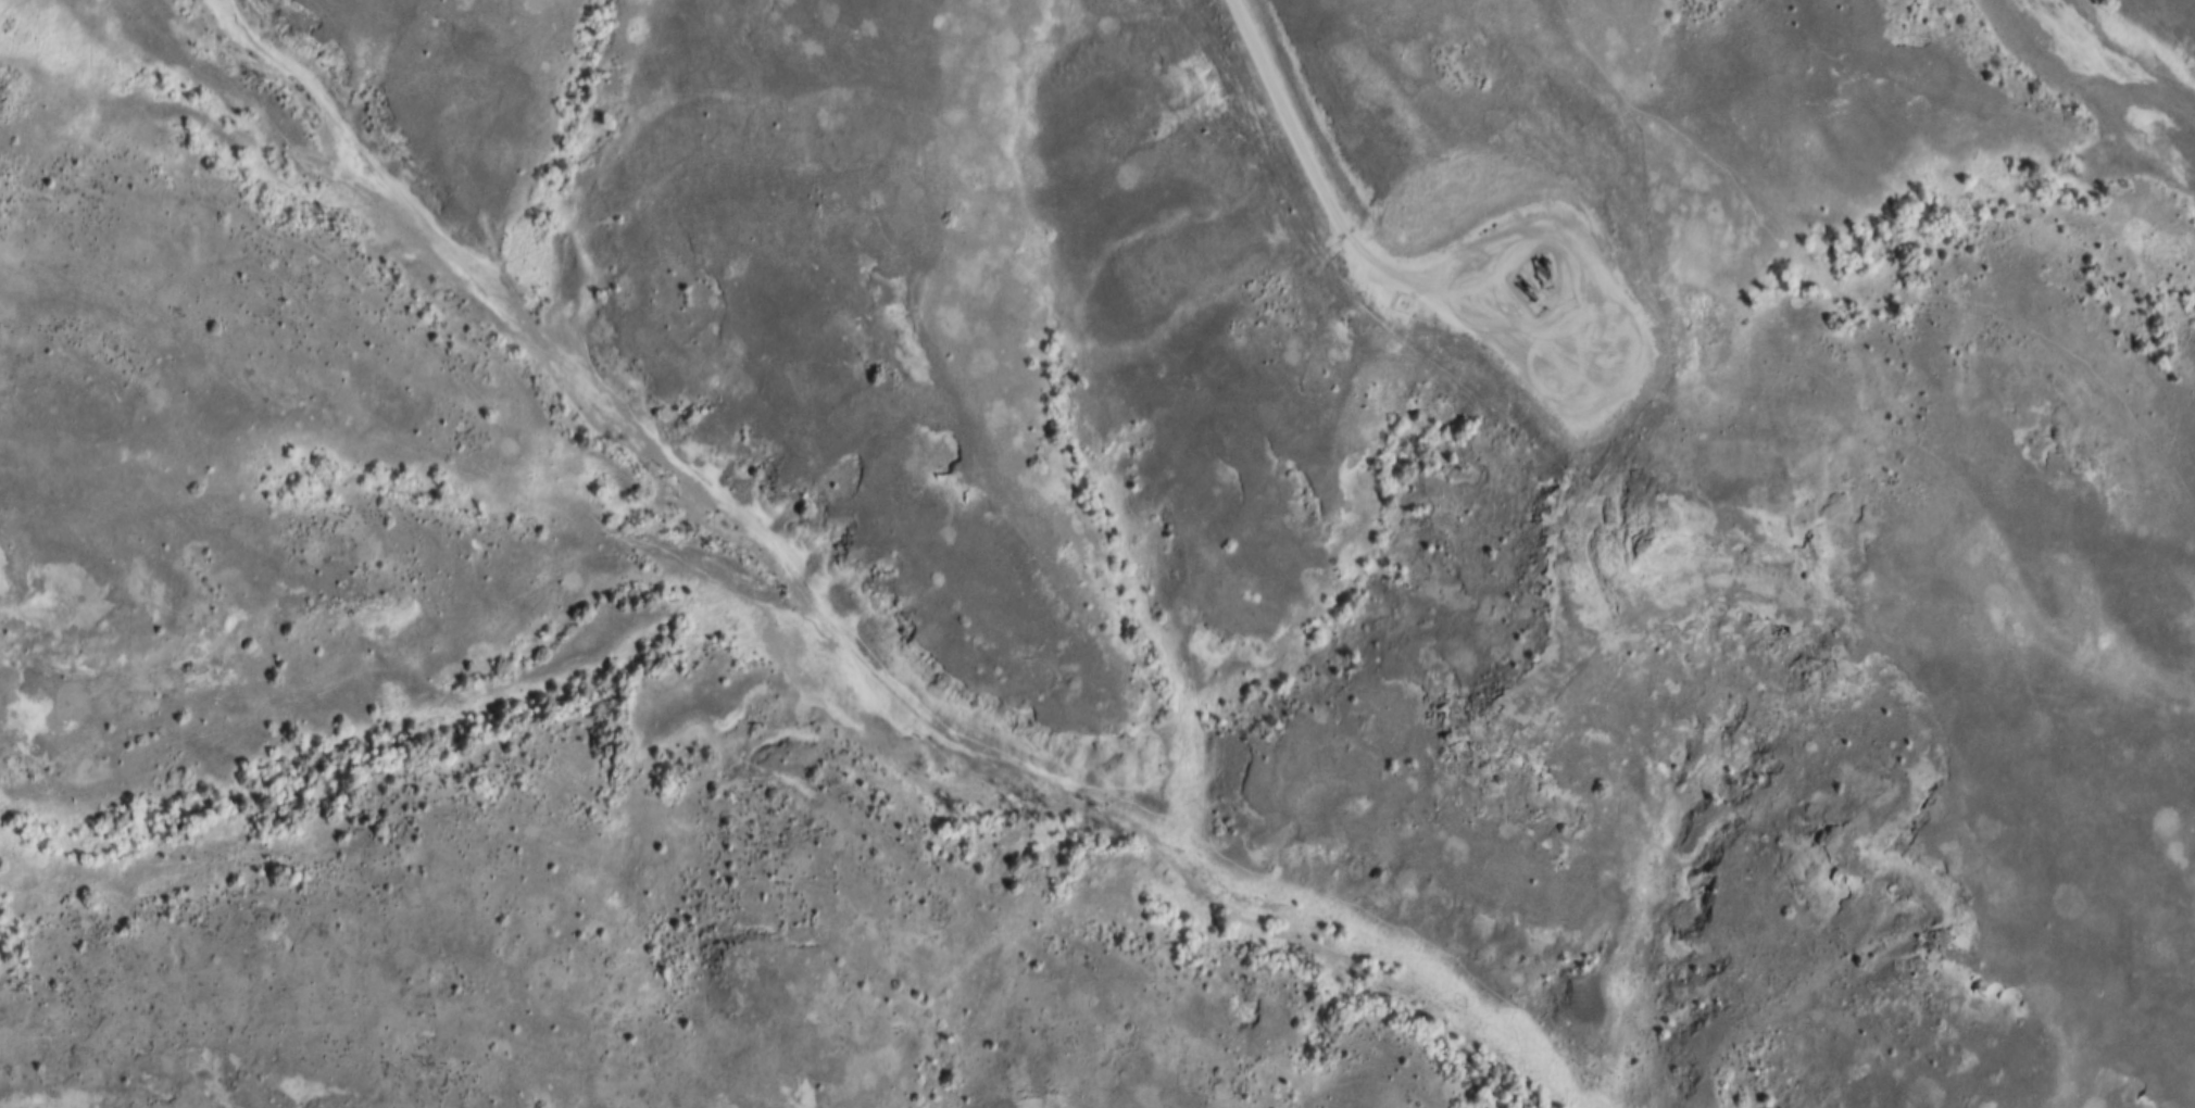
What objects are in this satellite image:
road: (1344, 225)

